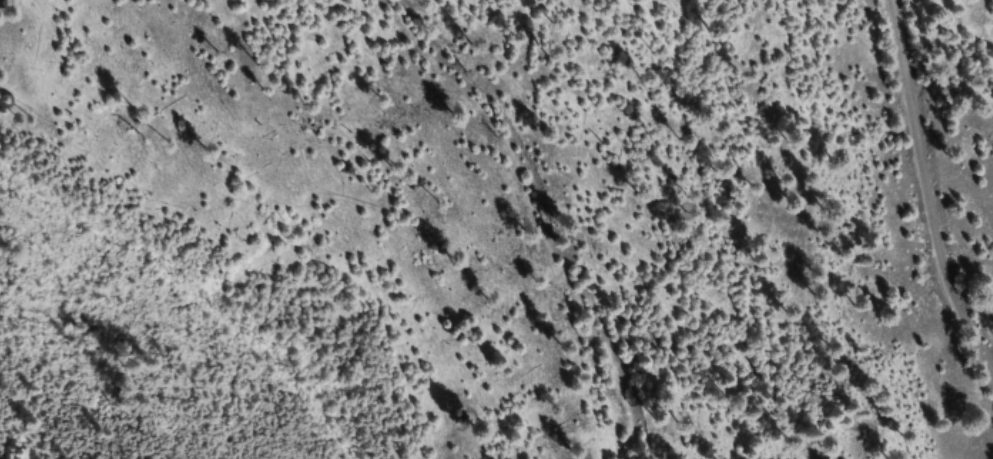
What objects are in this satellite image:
road: (886, 218)

